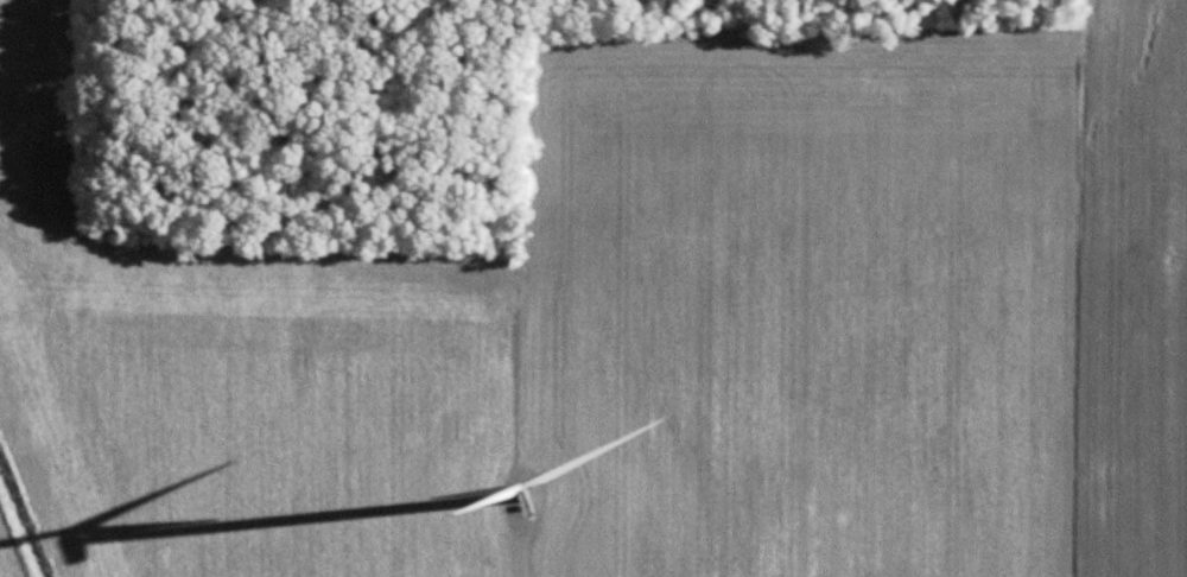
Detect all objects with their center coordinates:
wind turbine: (508, 487)
road: (495, 576)

